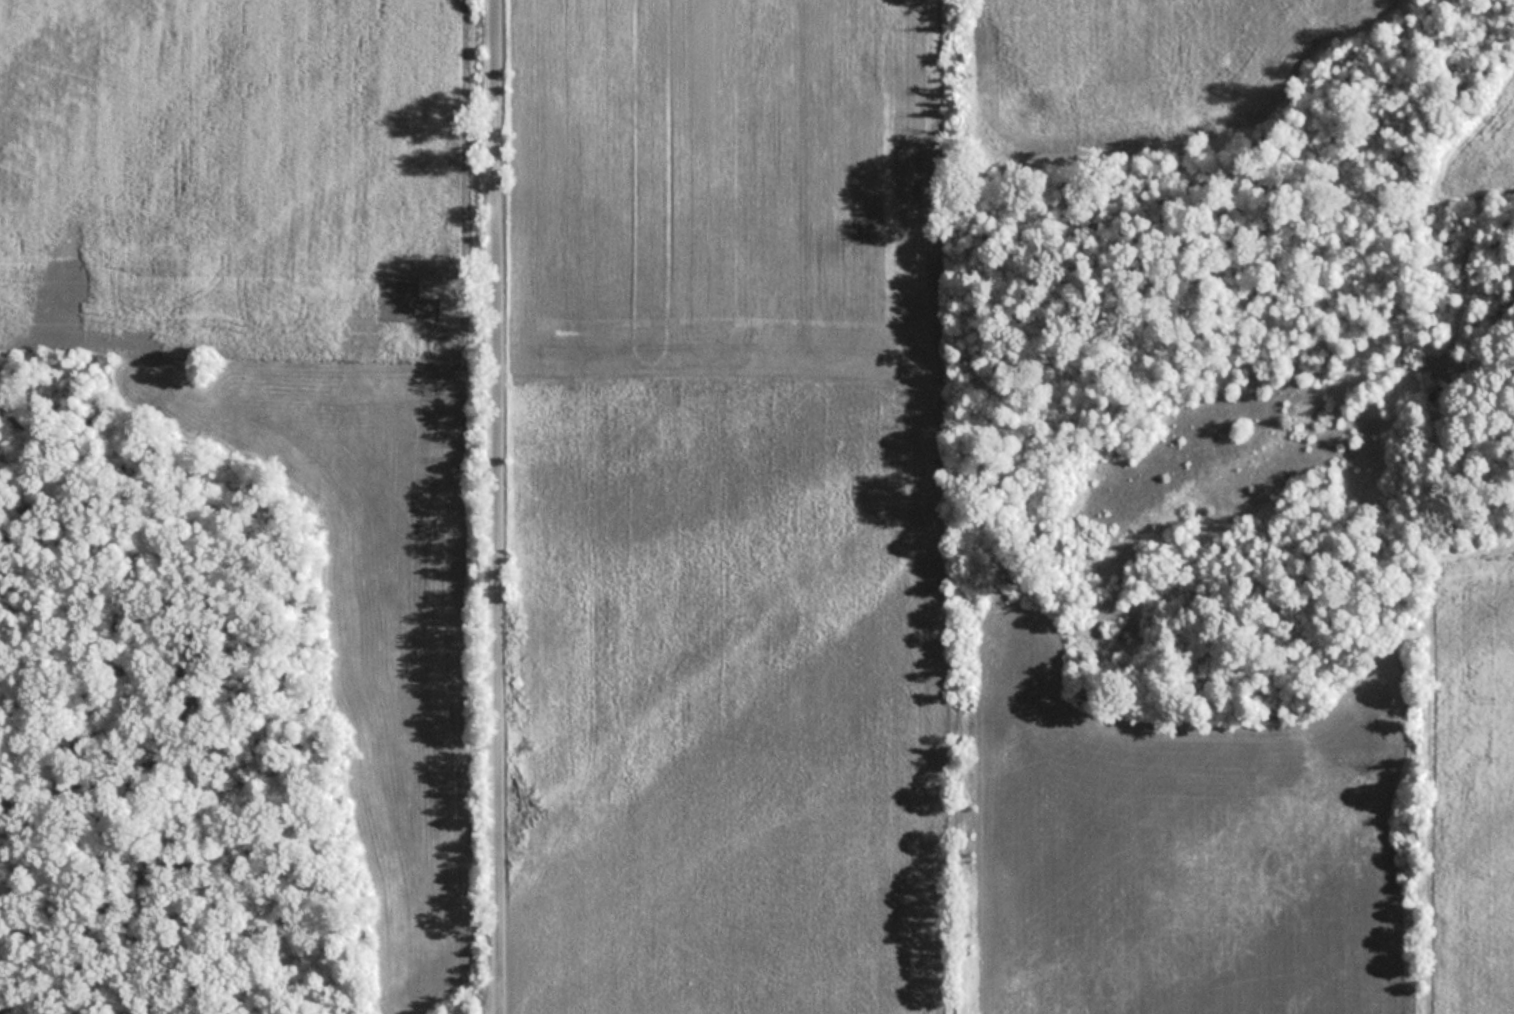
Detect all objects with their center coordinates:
road: (499, 506)

